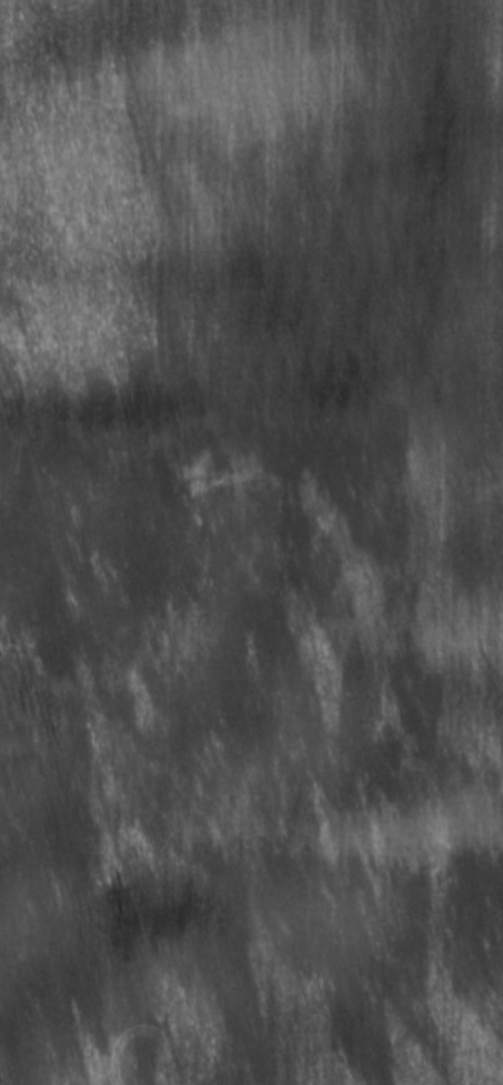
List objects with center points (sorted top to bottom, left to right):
crop: (251, 542)

